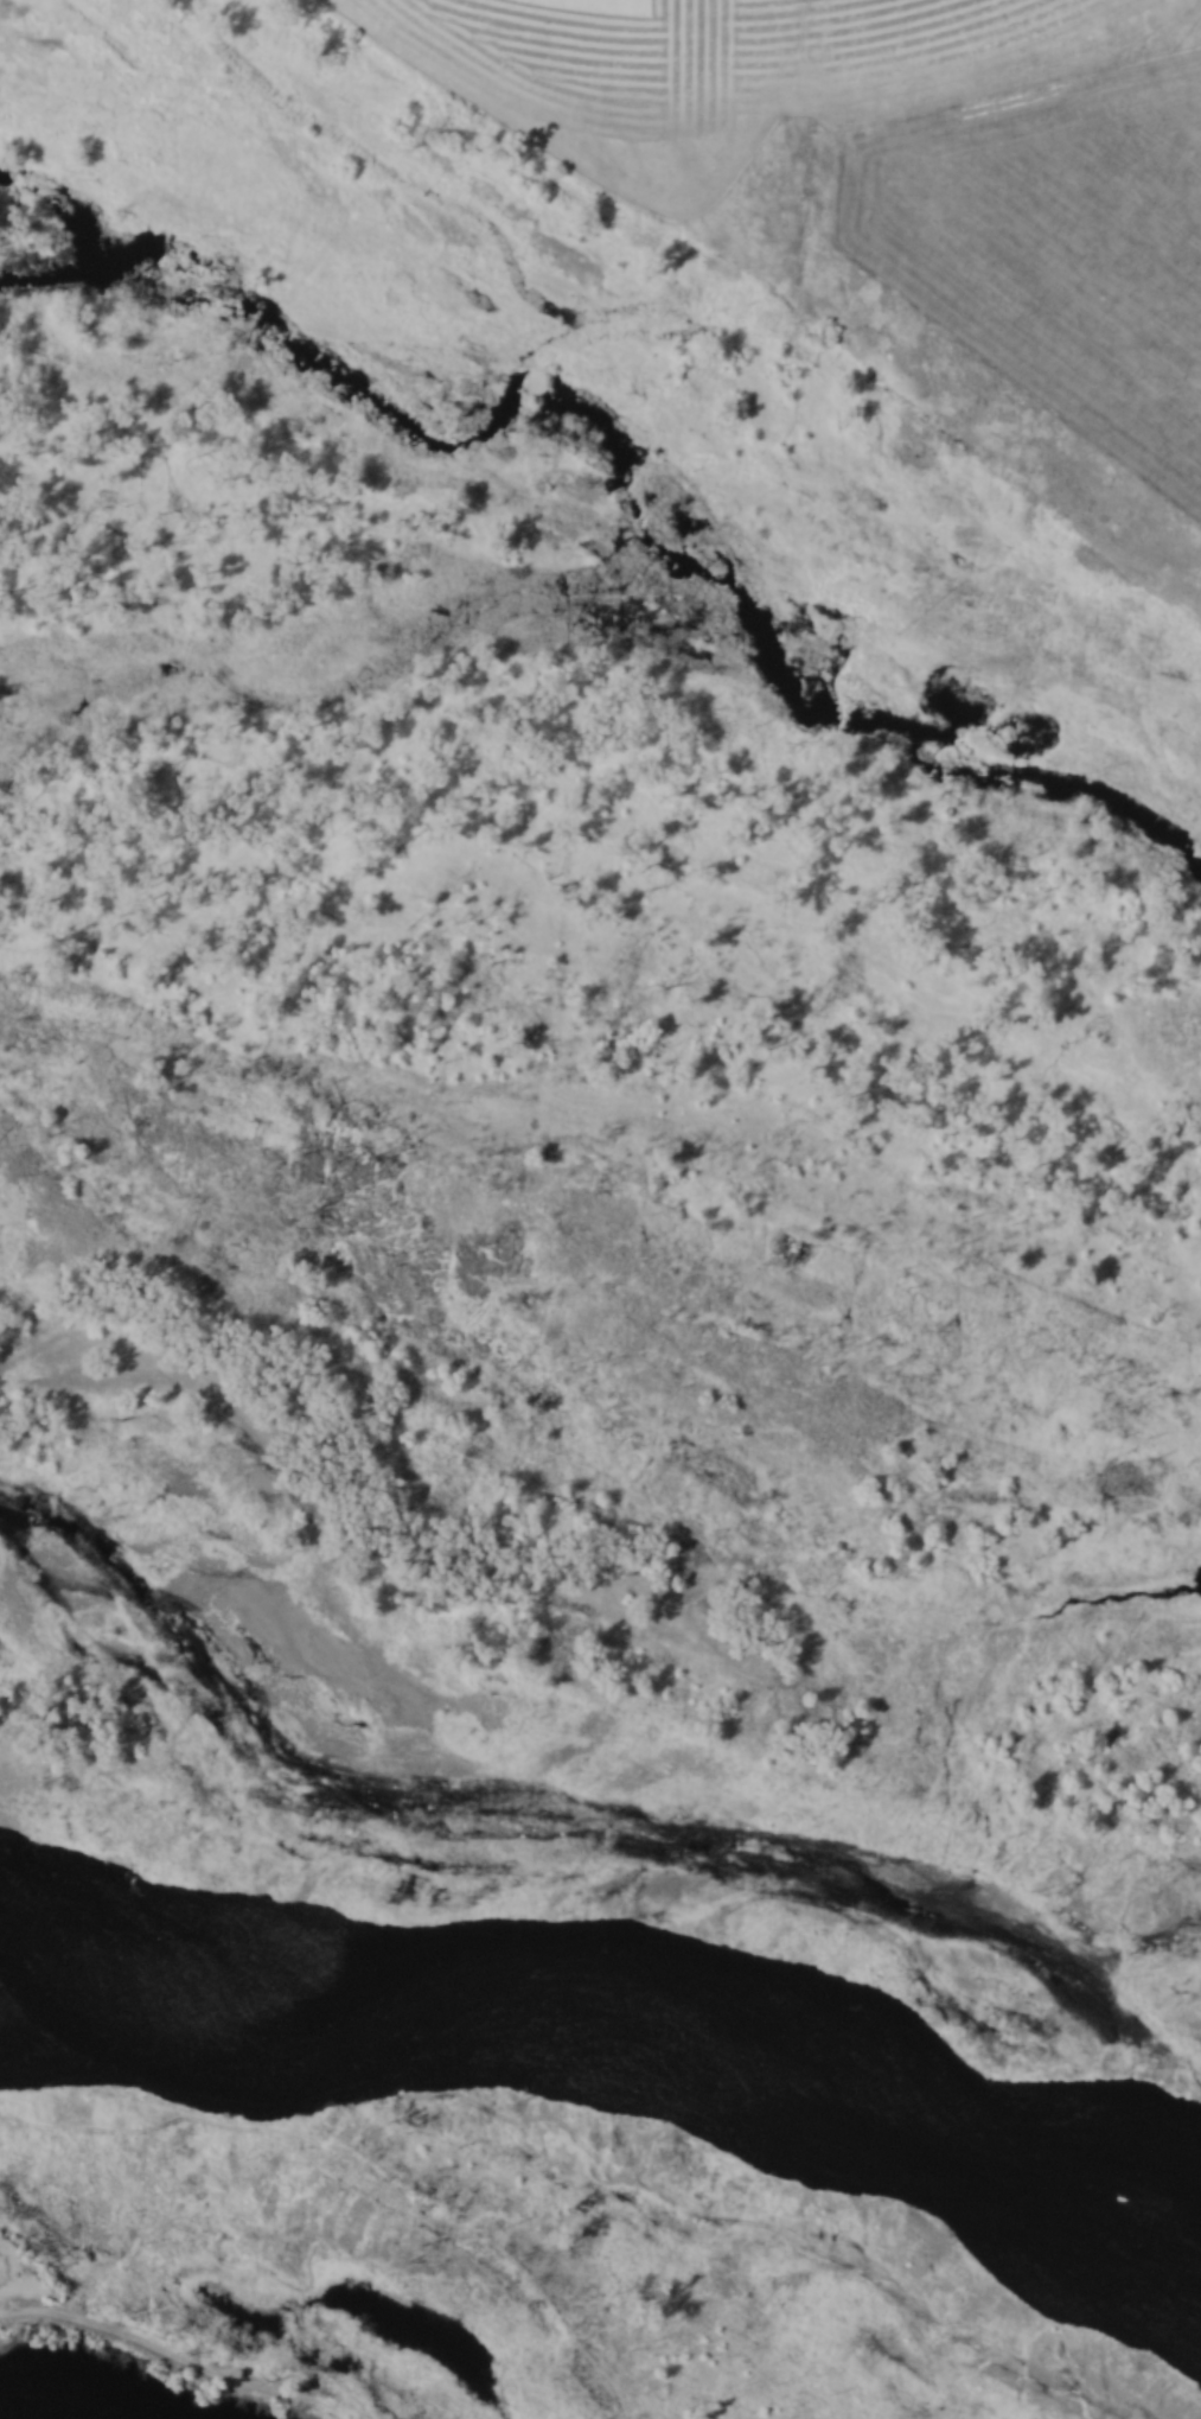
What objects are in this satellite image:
crop: (800, 45)
river: (625, 2030)

